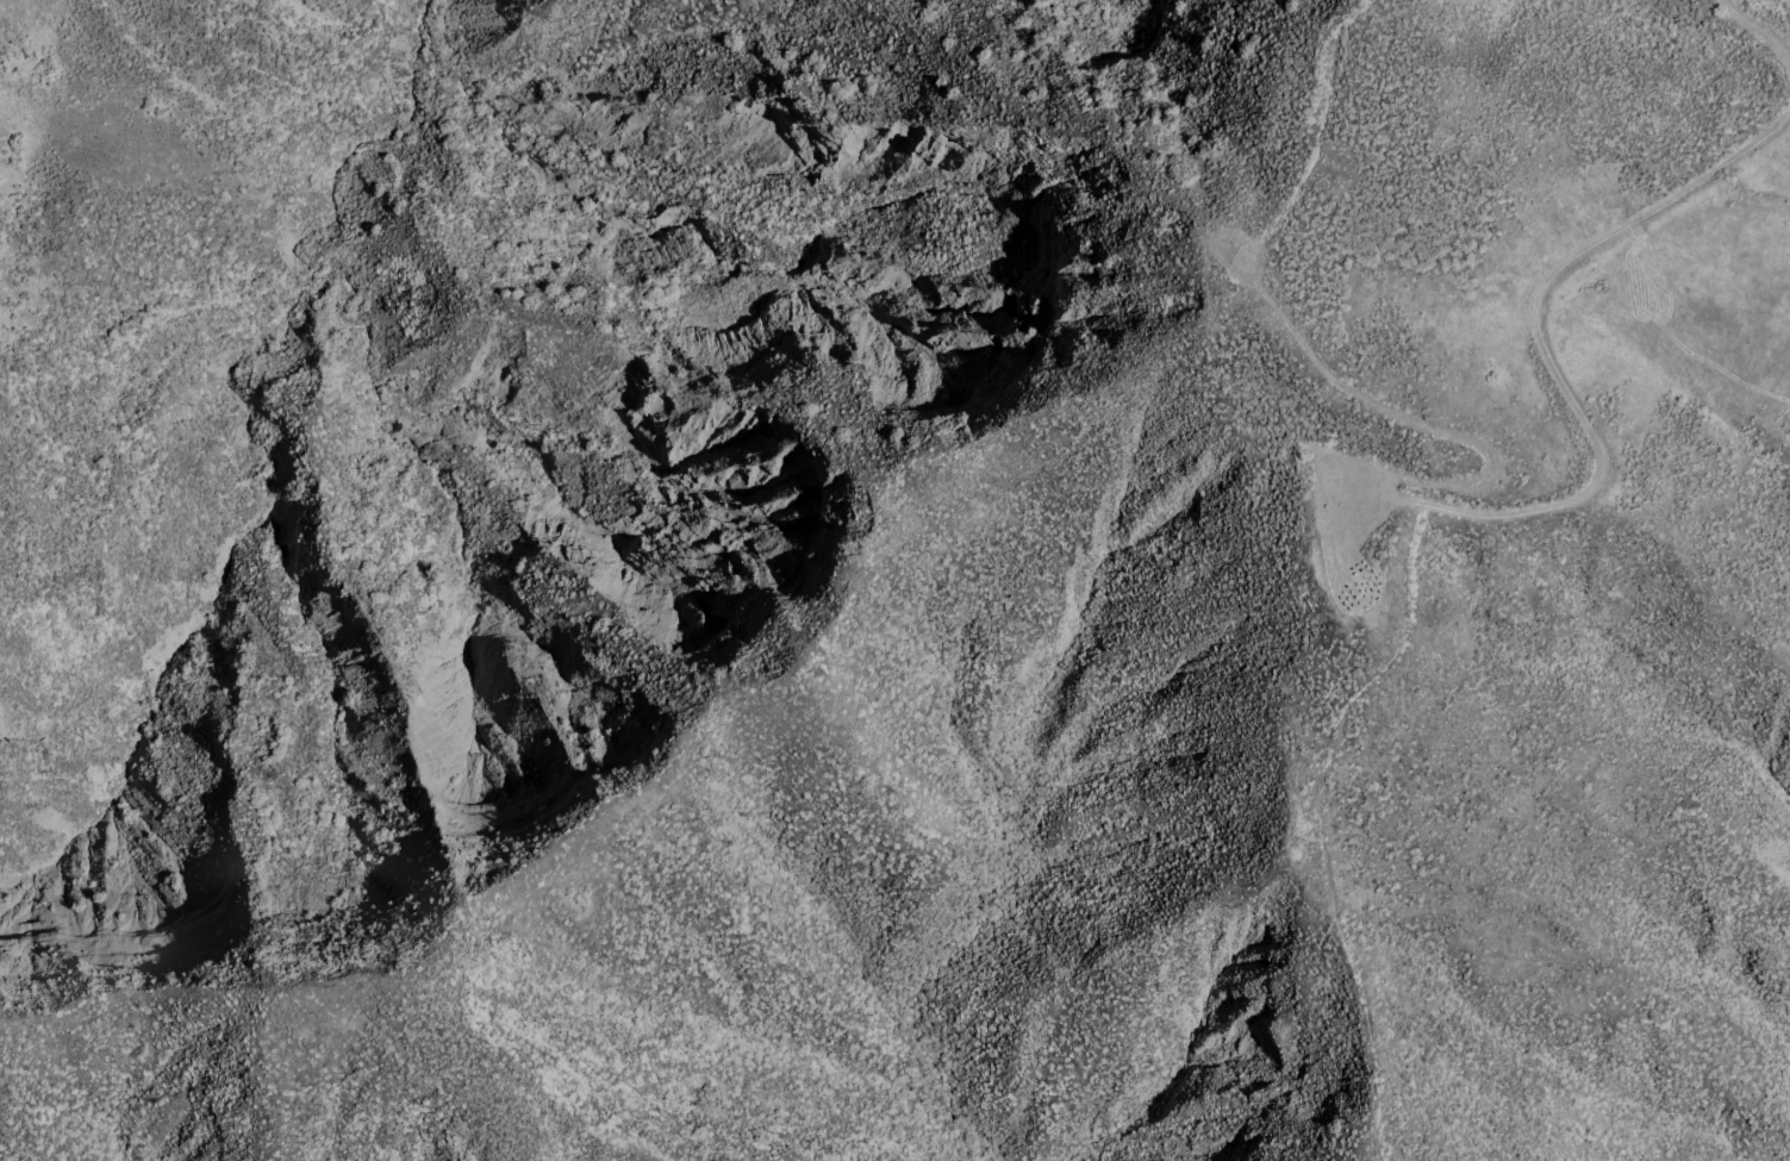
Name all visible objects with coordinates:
road: (1758, 27)
road: (1229, 242)
road: (1523, 512)

